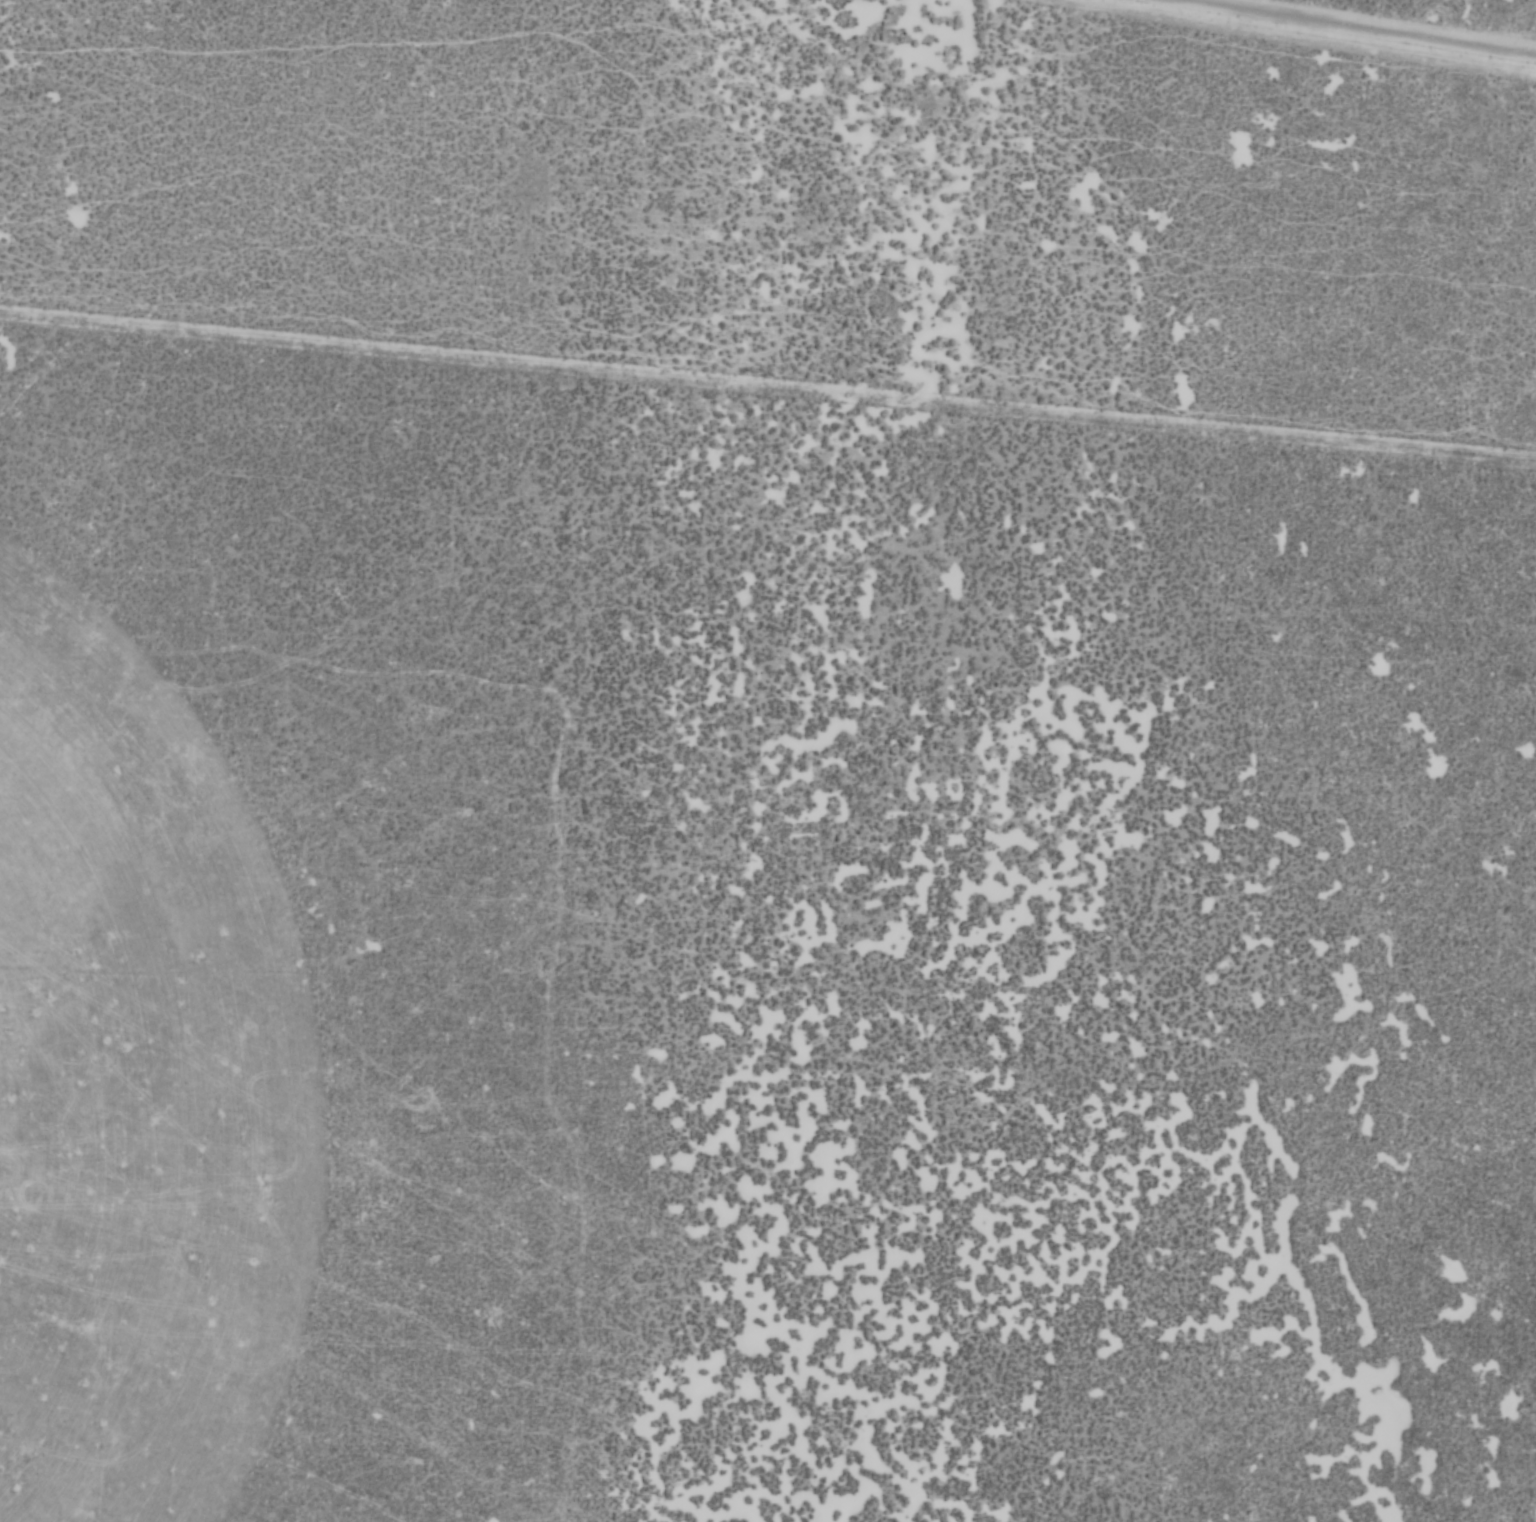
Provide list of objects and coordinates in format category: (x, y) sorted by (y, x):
airport: (813, 203)

